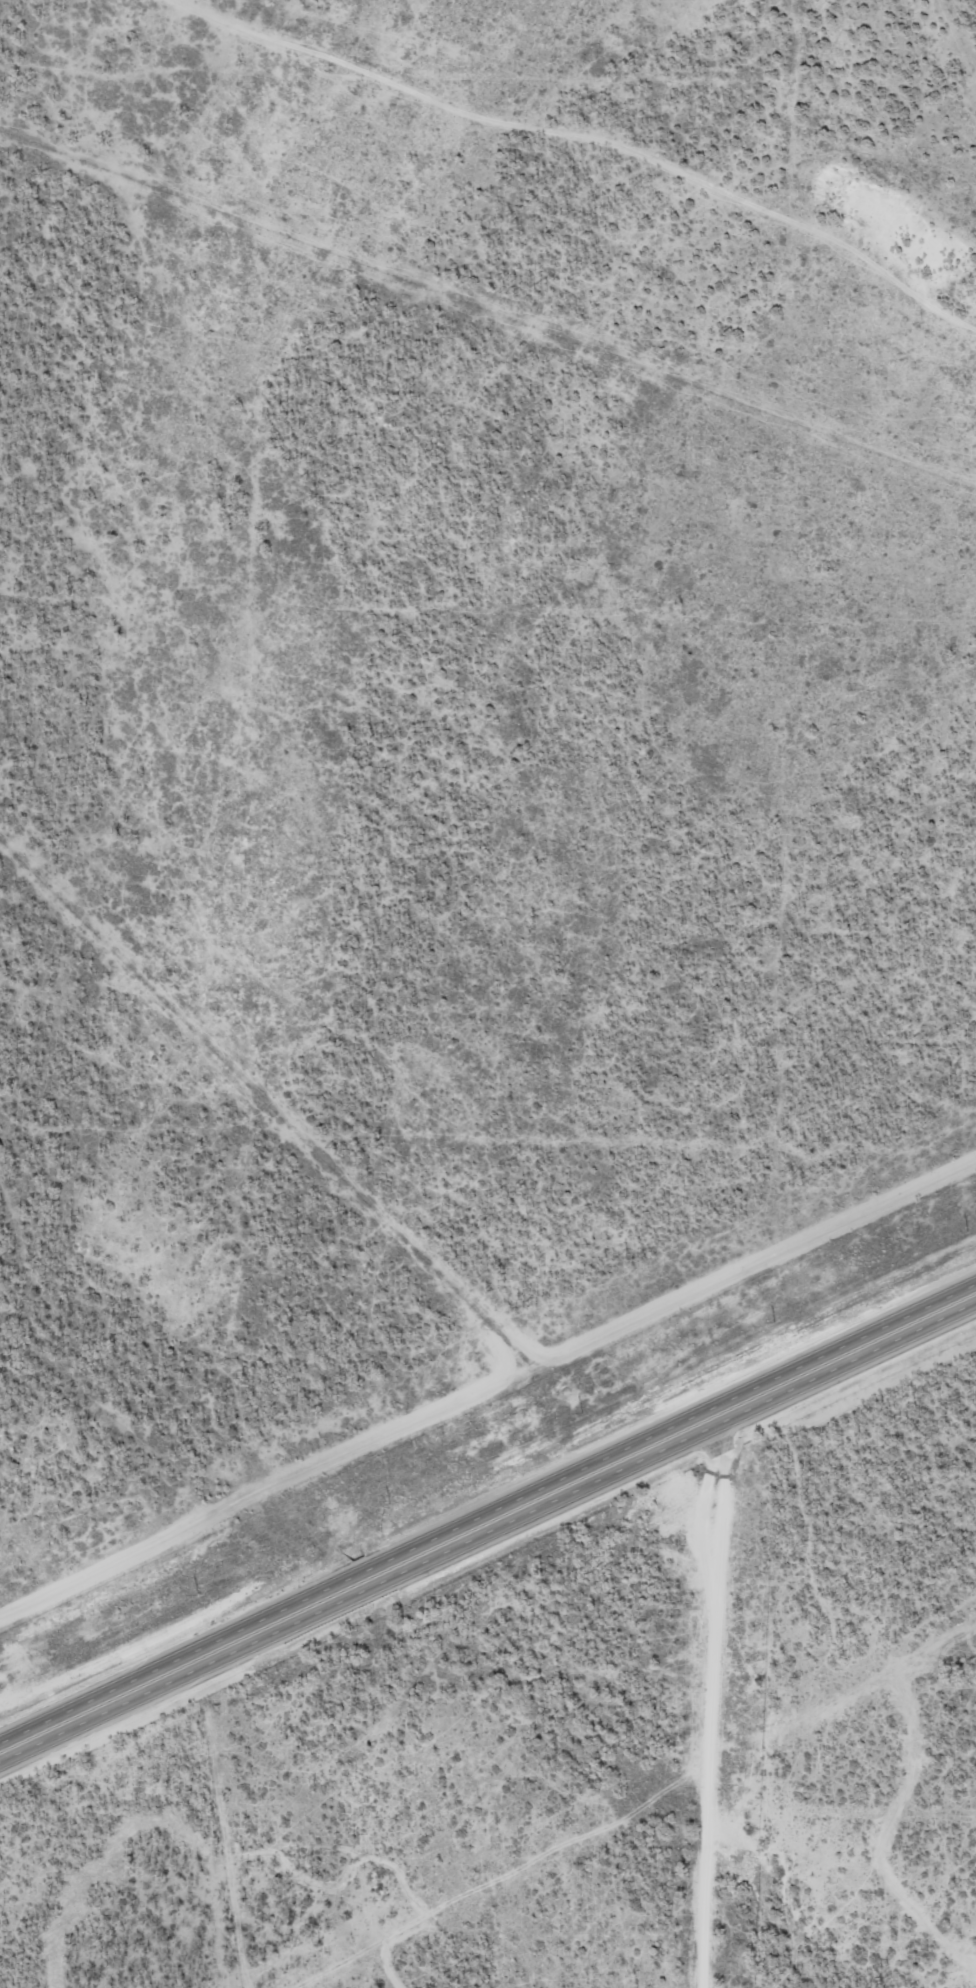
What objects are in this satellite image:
road: (564, 152)
power tower: (962, 1231)
power tower: (772, 1321)
power tower: (580, 1412)
power tower: (387, 1503)
road: (487, 1523)
power tower: (195, 1594)
road: (722, 1699)

